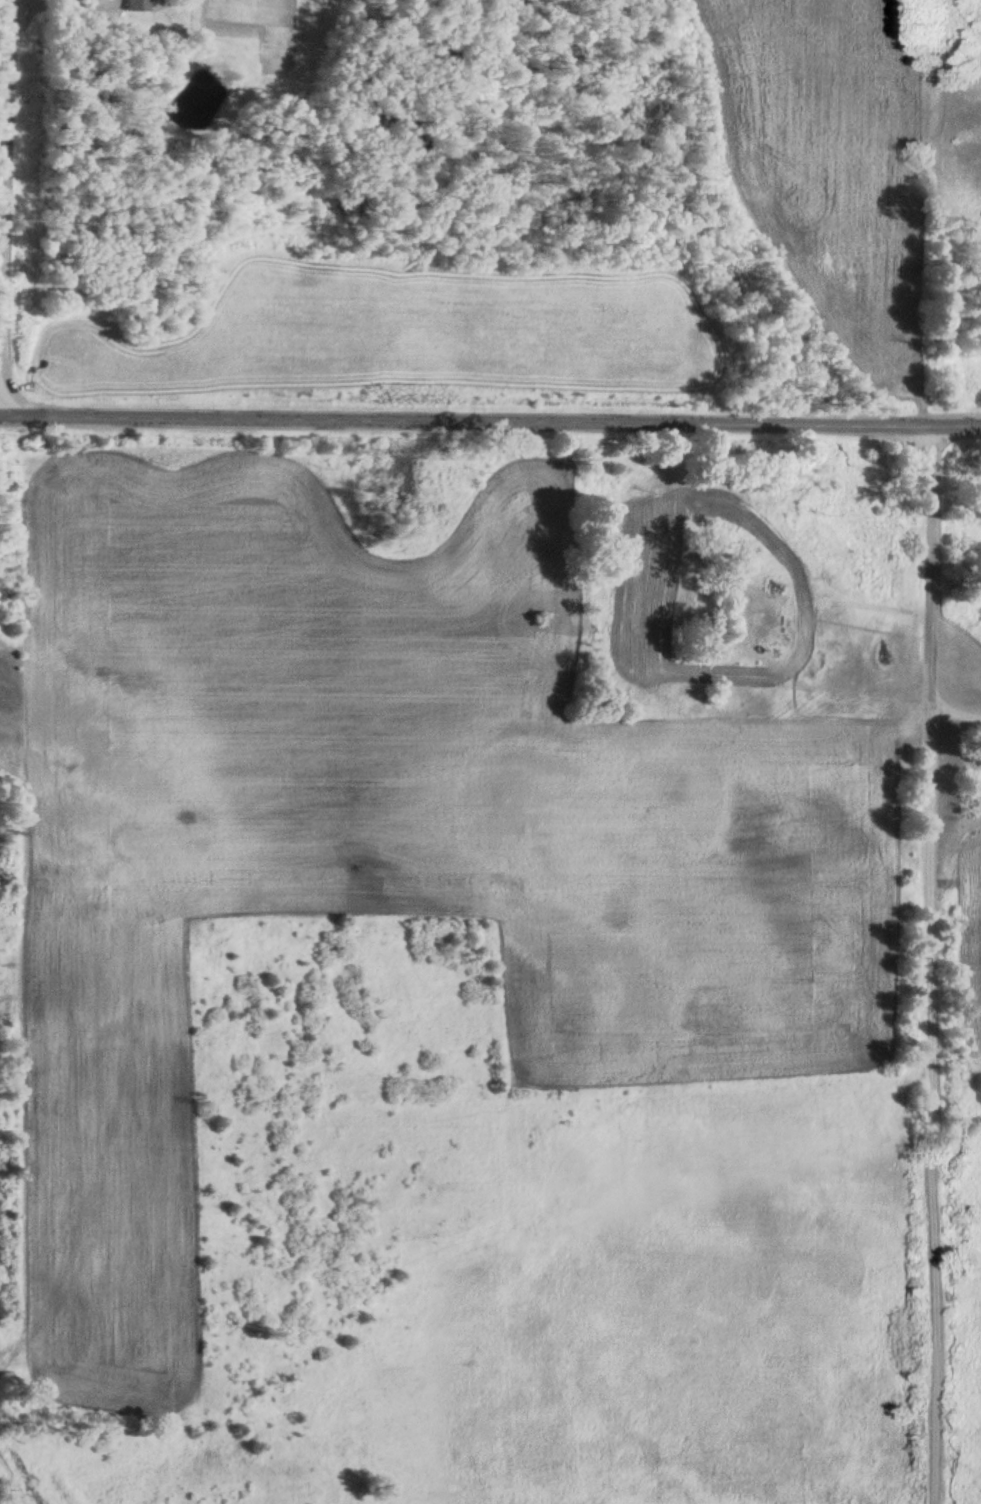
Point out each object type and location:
building: (134, 6)
road: (5, 176)
road: (490, 421)
road: (928, 965)

